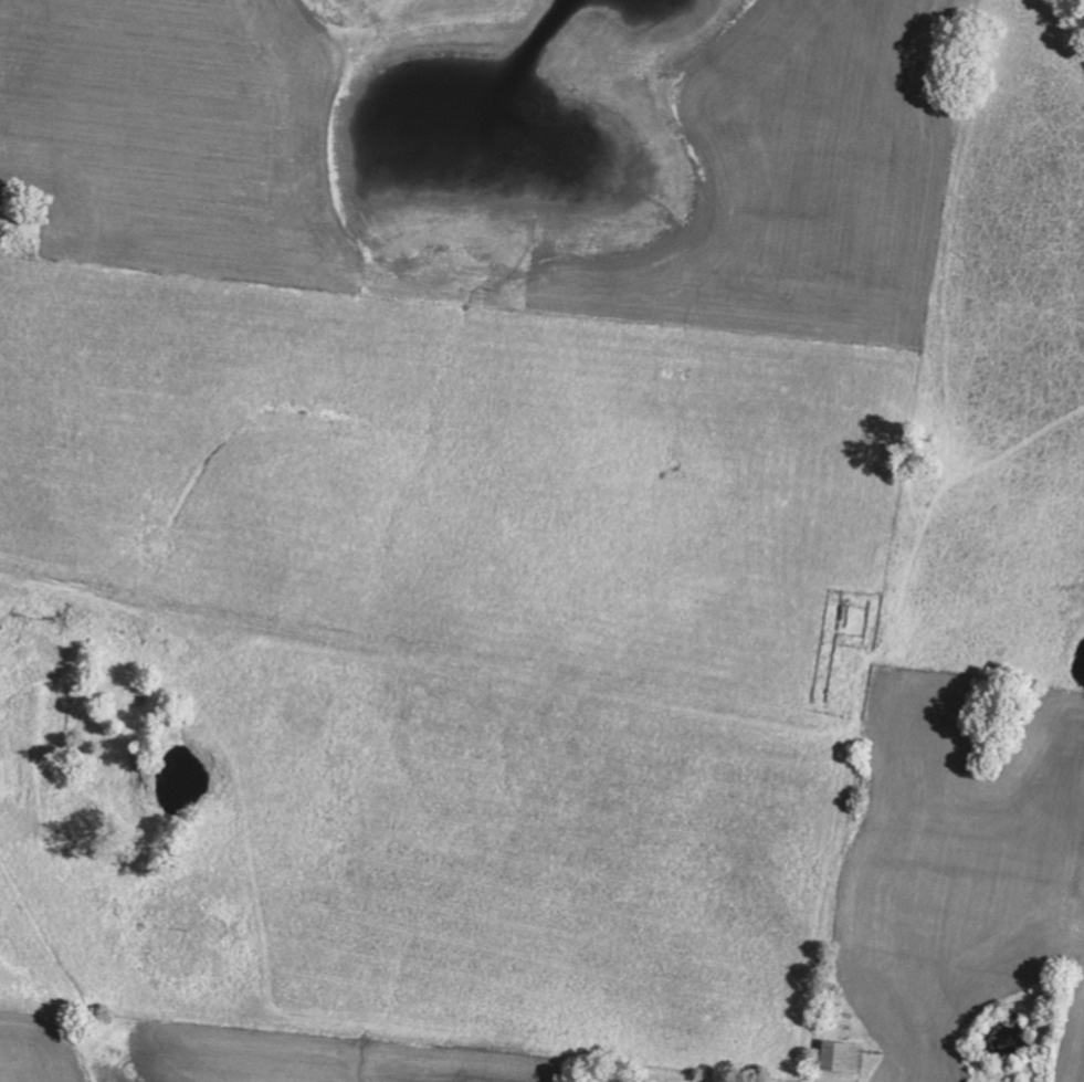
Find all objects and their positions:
building: (844, 1059)

